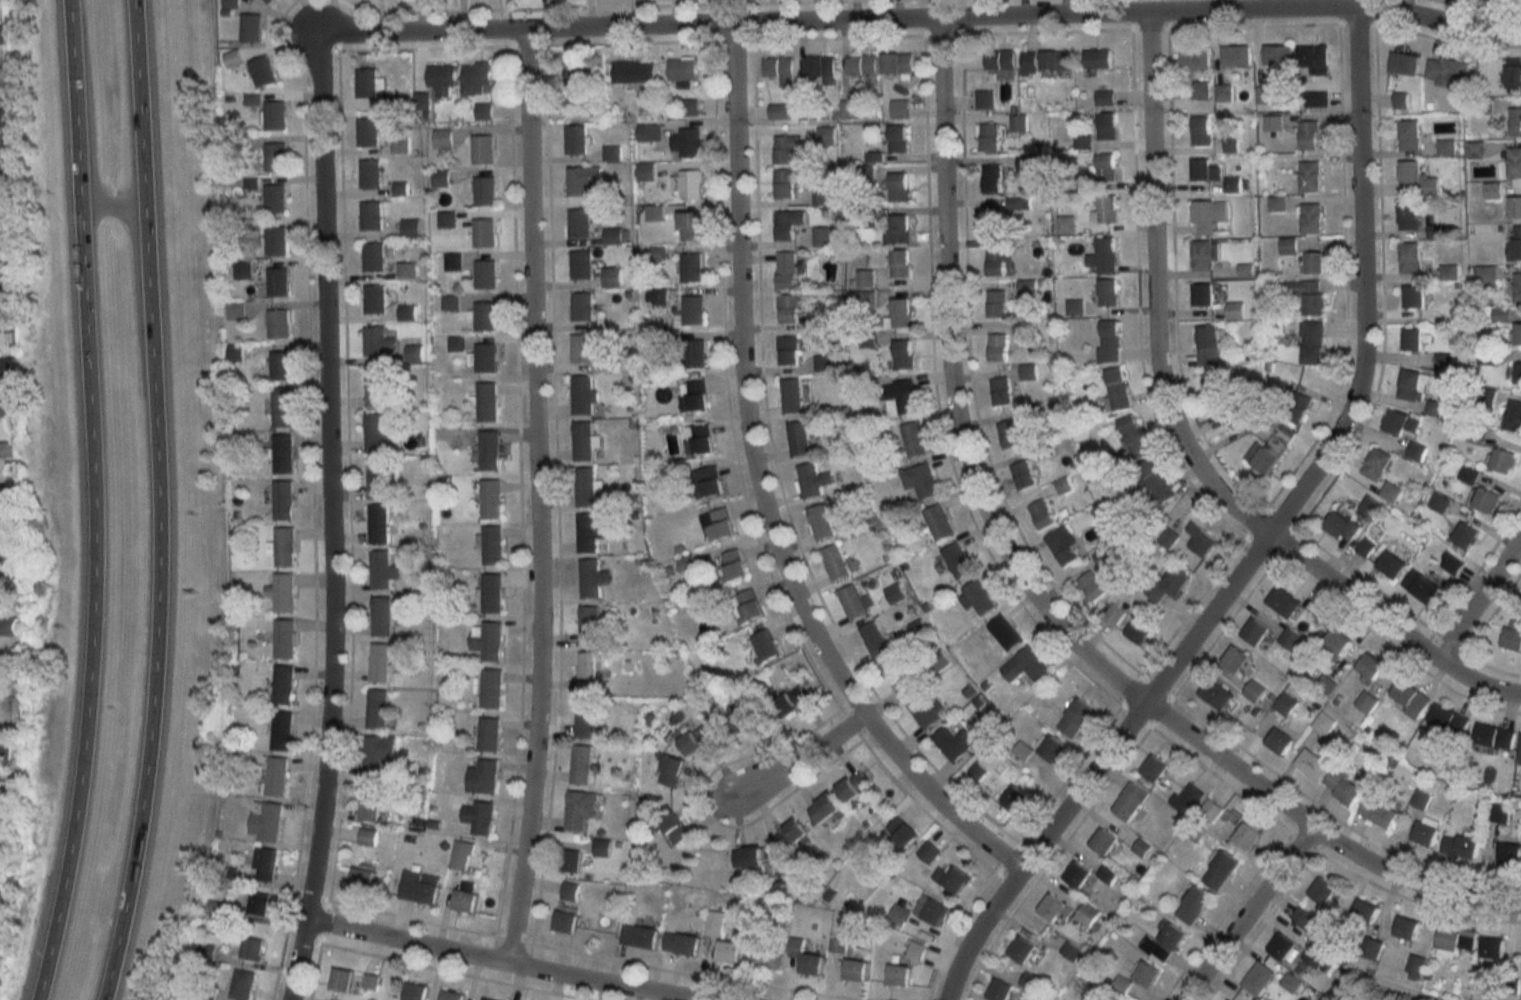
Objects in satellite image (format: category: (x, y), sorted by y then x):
building: (268, 0)
building: (264, 1)
building: (230, 3)
road: (1272, 5)
road: (922, 20)
building: (248, 27)
building: (1, 34)
building: (1235, 54)
building: (1277, 54)
building: (1312, 56)
building: (231, 59)
building: (1098, 59)
building: (1194, 59)
building: (1001, 60)
building: (897, 62)
building: (1029, 63)
building: (1056, 63)
building: (1404, 63)
building: (862, 64)
building: (820, 67)
building: (682, 69)
building: (780, 70)
building: (1447, 71)
building: (260, 72)
building: (634, 72)
building: (1, 75)
building: (1513, 75)
building: (474, 77)
building: (576, 77)
building: (440, 81)
building: (365, 83)
building: (1200, 90)
building: (1104, 98)
building: (985, 99)
building: (1314, 99)
building: (1400, 100)
building: (690, 107)
building: (900, 108)
building: (849, 109)
building: (482, 110)
building: (780, 111)
building: (273, 115)
building: (1, 118)
building: (1516, 121)
building: (1272, 123)
building: (1018, 124)
building: (1106, 126)
building: (366, 131)
building: (1201, 131)
building: (1309, 135)
building: (1409, 135)
building: (441, 138)
building: (989, 138)
building: (898, 139)
building: (575, 140)
building: (690, 142)
building: (398, 144)
building: (481, 149)
building: (1476, 150)
building: (787, 151)
building: (611, 153)
building: (273, 157)
building: (2, 159)
building: (1514, 163)
building: (1105, 168)
building: (1200, 170)
building: (644, 172)
building: (368, 174)
building: (1310, 177)
building: (438, 178)
building: (991, 179)
building: (582, 180)
building: (787, 181)
building: (1417, 181)
building: (687, 184)
building: (898, 187)
building: (399, 189)
building: (483, 191)
building: (605, 196)
building: (821, 197)
building: (273, 199)
building: (3, 202)
road: (113, 205)
building: (1515, 207)
building: (1107, 209)
building: (653, 213)
building: (370, 216)
building: (1409, 216)
building: (1208, 217)
building: (1311, 219)
building: (446, 220)
building: (996, 221)
building: (578, 224)
building: (787, 224)
building: (1065, 225)
building: (690, 226)
building: (409, 228)
building: (898, 229)
building: (1435, 232)
building: (483, 233)
building: (613, 236)
building: (823, 237)
building: (275, 241)
building: (3, 242)
building: (1514, 245)
building: (1104, 256)
building: (1203, 256)
building: (998, 257)
building: (372, 258)
building: (1410, 258)
building: (1314, 263)
building: (899, 264)
building: (580, 266)
building: (691, 267)
building: (786, 270)
building: (405, 271)
building: (484, 275)
building: (612, 277)
building: (277, 283)
building: (4, 284)
building: (1027, 287)
building: (1517, 288)
building: (1105, 292)
building: (1203, 296)
building: (1311, 297)
building: (1415, 297)
building: (373, 300)
building: (996, 304)
building: (581, 307)
building: (788, 309)
building: (692, 310)
building: (901, 314)
building: (484, 316)
building: (277, 324)
building: (0, 325)
building: (1517, 335)
building: (1412, 339)
building: (1108, 341)
building: (377, 342)
building: (1312, 343)
building: (1209, 346)
building: (997, 347)
building: (581, 348)
building: (788, 351)
building: (693, 354)
building: (903, 354)
building: (484, 358)
building: (279, 365)
building: (5, 368)
building: (1028, 372)
building: (1518, 374)
building: (1412, 384)
building: (378, 387)
building: (1216, 389)
building: (1116, 390)
building: (1000, 391)
building: (582, 395)
building: (694, 396)
building: (792, 396)
building: (901, 399)
building: (486, 402)
building: (281, 407)
building: (1297, 407)
building: (1433, 408)
building: (5, 409)
building: (1234, 412)
building: (1513, 416)
building: (1400, 424)
building: (378, 433)
building: (1009, 434)
building: (1476, 435)
building: (1133, 437)
building: (798, 439)
building: (699, 440)
building: (913, 440)
building: (582, 441)
road: (1180, 442)
building: (5, 450)
building: (488, 451)
building: (1415, 451)
building: (282, 454)
building: (1265, 454)
building: (1503, 461)
building: (1376, 464)
building: (1468, 474)
building: (1023, 475)
building: (378, 479)
building: (813, 481)
building: (706, 483)
building: (920, 483)
building: (1156, 483)
building: (585, 487)
road: (758, 492)
building: (1391, 492)
building: (6, 493)
road: (536, 498)
building: (490, 499)
building: (1486, 500)
road: (159, 501)
building: (282, 501)
road: (94, 502)
building: (1438, 503)
building: (1370, 507)
building: (1042, 514)
road: (328, 522)
building: (821, 523)
building: (938, 523)
building: (378, 524)
building: (717, 526)
building: (1342, 526)
building: (588, 533)
building: (6, 535)
building: (1465, 536)
building: (1168, 539)
building: (1201, 541)
road: (1266, 543)
building: (491, 545)
building: (284, 547)
building: (1063, 547)
building: (1365, 547)
building: (1103, 556)
building: (957, 561)
building: (835, 563)
building: (685, 564)
building: (1451, 564)
building: (1391, 565)
building: (732, 567)
building: (382, 570)
building: (593, 576)
building: (1175, 582)
building: (1091, 586)
building: (1420, 586)
building: (281, 592)
building: (491, 593)
road: (1031, 594)
building: (979, 598)
road: (1480, 600)
building: (852, 602)
building: (1282, 602)
building: (746, 607)
building: (1113, 614)
building: (381, 616)
building: (589, 626)
building: (1139, 630)
building: (1255, 631)
building: (1005, 632)
building: (1513, 636)
building: (283, 639)
building: (874, 639)
building: (1289, 639)
building: (487, 640)
building: (1333, 646)
building: (765, 647)
building: (1235, 659)
building: (379, 662)
building: (1026, 666)
building: (1370, 667)
building: (587, 672)
building: (897, 676)
building: (282, 685)
building: (1325, 686)
building: (490, 689)
building: (1254, 690)
building: (1214, 694)
building: (1409, 698)
building: (791, 702)
building: (1285, 704)
building: (377, 709)
building: (925, 710)
building: (1075, 718)
building: (584, 719)
building: (1448, 719)
building: (745, 721)
building: (1323, 723)
building: (280, 731)
building: (488, 735)
building: (1494, 737)
building: (696, 741)
building: (1279, 742)
building: (953, 743)
building: (1052, 750)
building: (4, 751)
building: (378, 755)
road: (800, 756)
building: (581, 765)
building: (1310, 765)
building: (1154, 769)
building: (670, 772)
building: (978, 772)
building: (276, 777)
building: (482, 778)
building: (1342, 787)
building: (854, 788)
building: (1420, 799)
building: (1015, 800)
building: (1186, 800)
building: (369, 802)
building: (1130, 802)
building: (579, 810)
building: (1210, 811)
building: (825, 812)
building: (1378, 812)
building: (1500, 813)
building: (478, 818)
building: (264, 820)
building: (672, 830)
building: (1426, 832)
building: (901, 834)
building: (792, 836)
building: (366, 837)
building: (1246, 837)
building: (1104, 842)
building: (1461, 846)
building: (928, 852)
building: (1510, 855)
building: (460, 856)
building: (748, 857)
building: (570, 861)
building: (264, 864)
building: (1220, 871)
building: (1107, 874)
building: (1077, 875)
building: (361, 880)
building: (419, 888)
building: (1321, 890)
building: (568, 891)
building: (464, 897)
building: (259, 903)
building: (1193, 905)
building: (214, 908)
building: (1055, 909)
building: (1363, 910)
building: (935, 912)
road: (1247, 913)
building: (1087, 914)
building: (899, 915)
building: (1302, 916)
building: (565, 922)
building: (1406, 927)
building: (638, 936)
building: (1456, 941)
building: (1167, 943)
building: (680, 944)
building: (838, 945)
building: (1493, 945)
building: (1279, 946)
building: (1371, 947)
building: (252, 949)
building: (1022, 950)
building: (916, 951)
building: (1071, 951)
building: (727, 952)
building: (1313, 955)
building: (766, 958)
building: (805, 959)
road: (489, 961)
building: (1419, 965)
building: (855, 971)
building: (1146, 975)
building: (898, 976)
building: (1254, 979)
building: (339, 981)
building: (1288, 981)
building: (370, 982)
building: (1030, 982)
building: (241, 984)
building: (1000, 991)
building: (414, 992)
building: (452, 995)
building: (488, 999)

